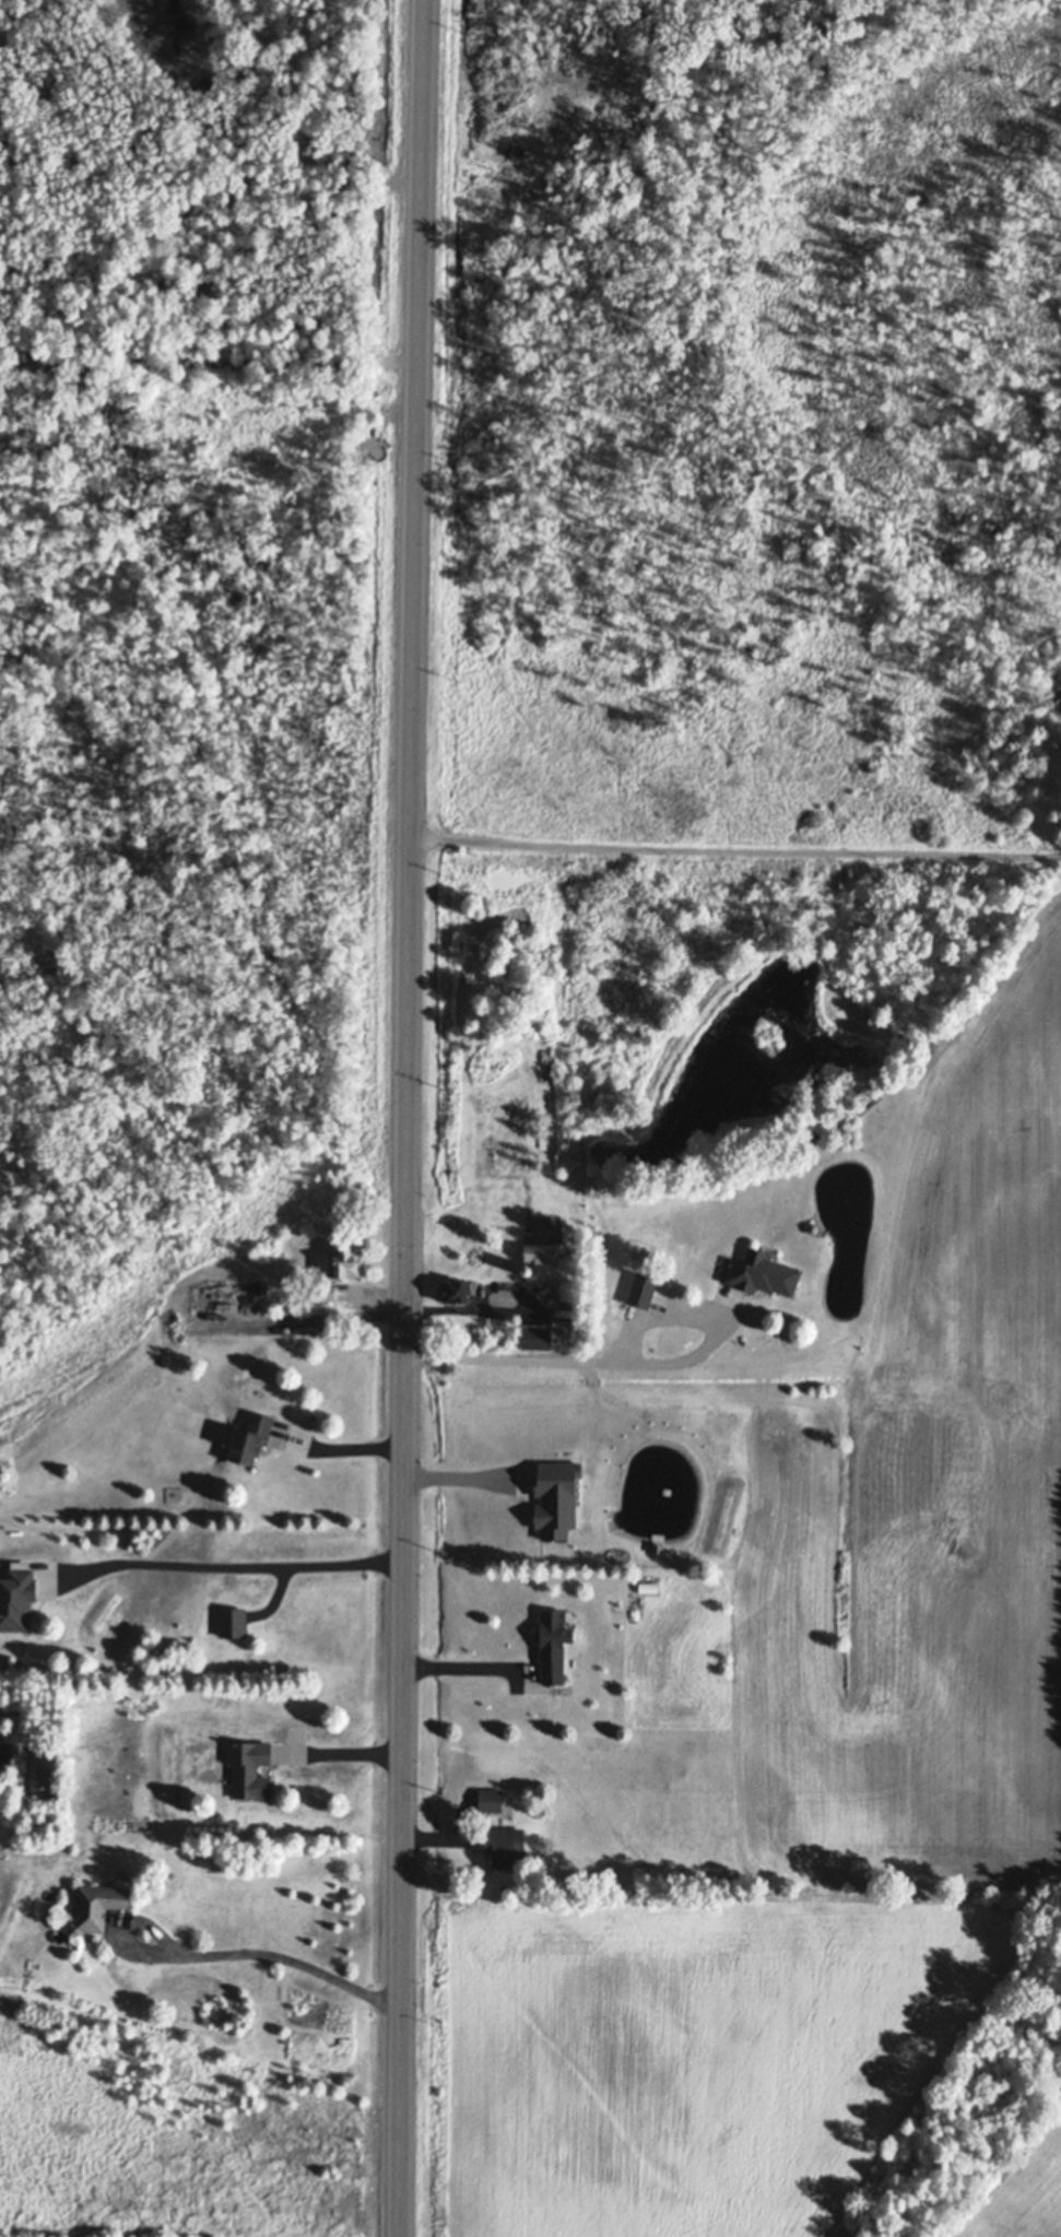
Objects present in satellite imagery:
road: (732, 843)
building: (534, 1002)
road: (406, 1118)
building: (812, 1225)
building: (539, 1249)
building: (345, 1257)
building: (526, 1269)
building: (762, 1270)
building: (456, 1285)
building: (641, 1286)
building: (325, 1288)
building: (657, 1305)
road: (495, 1309)
building: (535, 1333)
road: (578, 1356)
building: (250, 1435)
road: (340, 1441)
road: (459, 1475)
road: (228, 1561)
building: (647, 1585)
building: (16, 1596)
building: (232, 1620)
building: (552, 1641)
road: (462, 1663)
building: (460, 1672)
building: (17, 1704)
road: (340, 1752)
building: (249, 1766)
building: (490, 1798)
building: (503, 1844)
building: (638, 1869)
building: (96, 1904)
road: (212, 1954)

